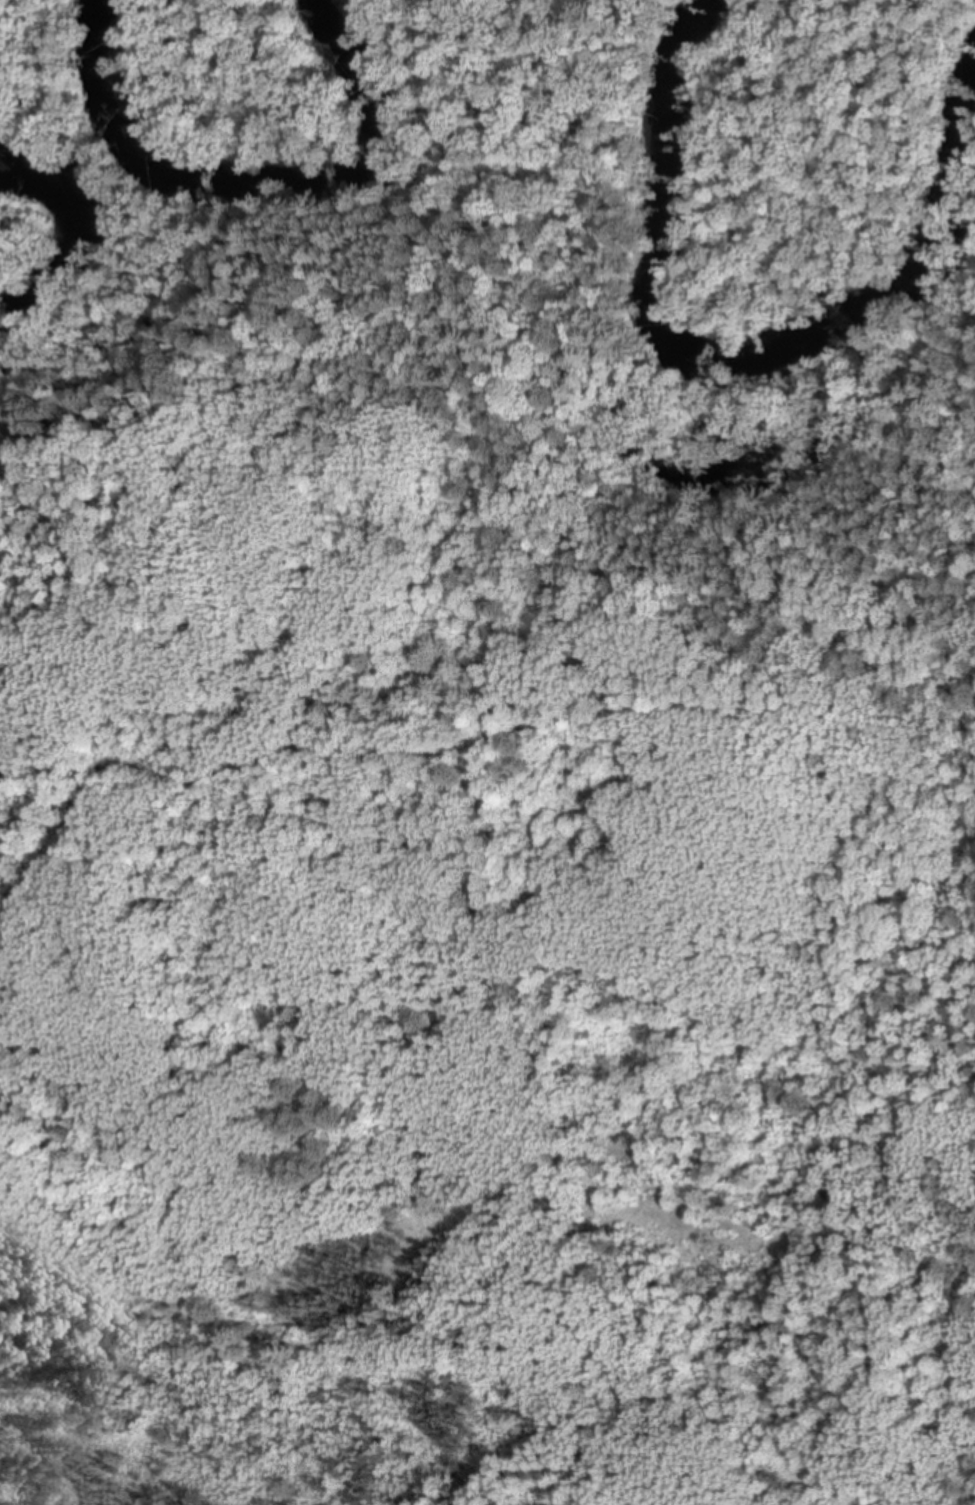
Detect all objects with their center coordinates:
river: (266, 184)
river: (75, 220)
river: (720, 350)

